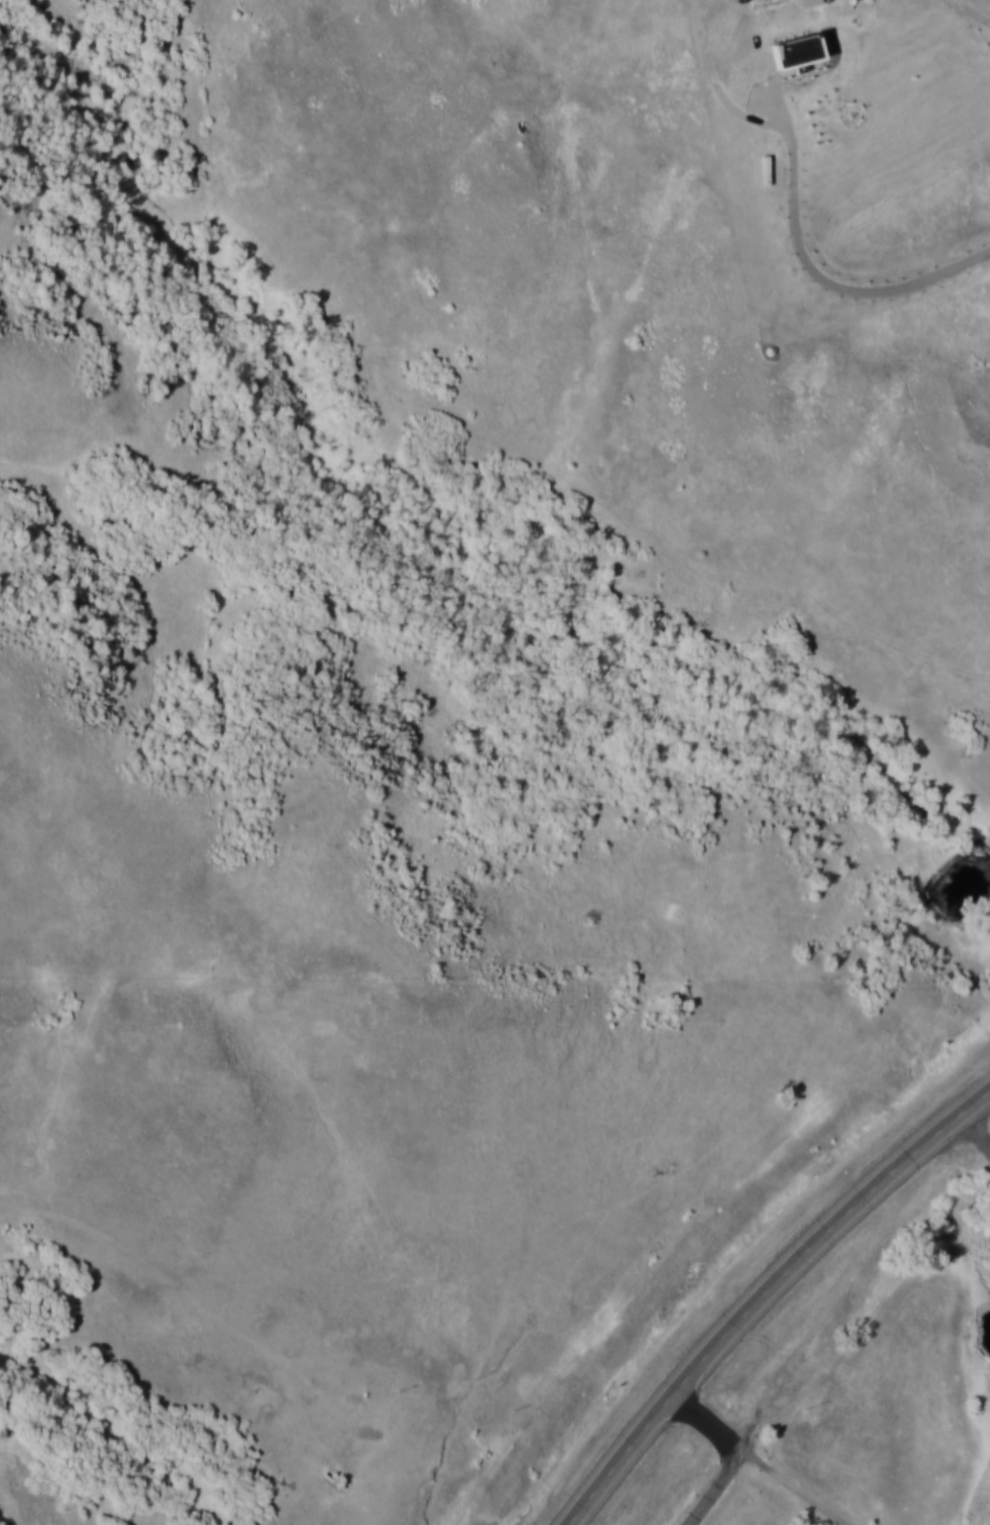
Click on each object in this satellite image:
building: (796, 49)
road: (820, 273)
road: (973, 1129)
road: (824, 1233)
road: (698, 1414)
road: (617, 1458)
road: (793, 1480)
road: (721, 1482)

